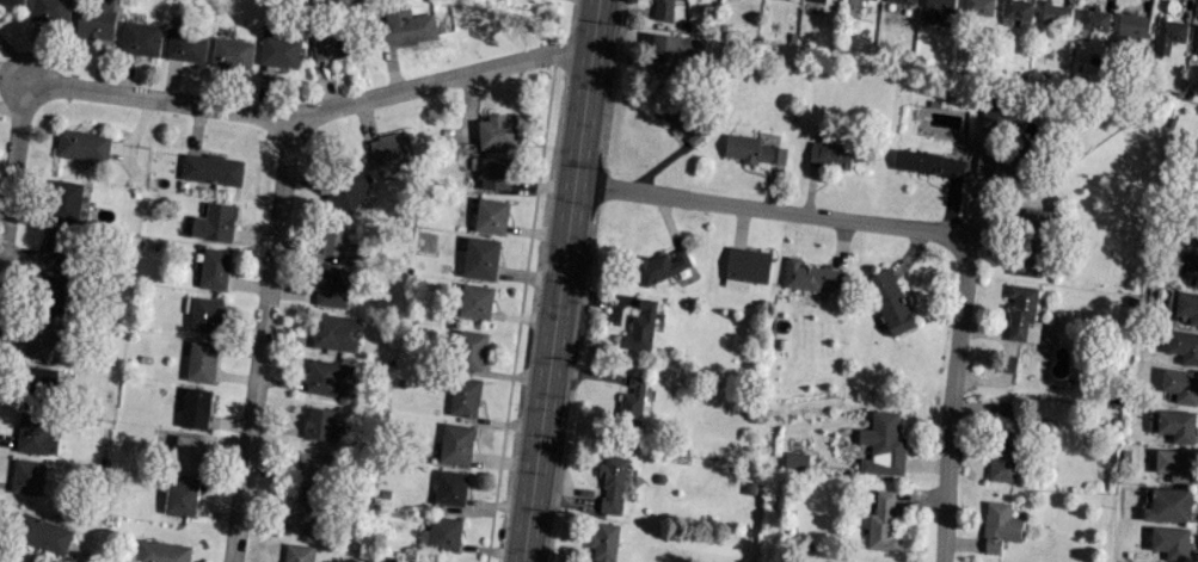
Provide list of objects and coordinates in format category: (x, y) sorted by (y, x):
building: (817, 0)
building: (11, 1)
building: (902, 1)
building: (978, 7)
building: (662, 10)
building: (935, 10)
building: (51, 11)
building: (1018, 11)
building: (1055, 13)
building: (96, 19)
building: (1093, 21)
building: (405, 24)
building: (1130, 26)
building: (1168, 33)
building: (140, 38)
building: (1196, 41)
building: (186, 44)
building: (328, 44)
building: (279, 48)
building: (676, 50)
building: (232, 54)
road: (314, 111)
building: (999, 112)
building: (674, 113)
building: (497, 131)
building: (695, 136)
building: (82, 144)
building: (389, 150)
building: (752, 150)
building: (829, 155)
building: (929, 163)
building: (999, 163)
building: (211, 168)
road: (12, 173)
building: (494, 173)
building: (348, 189)
building: (66, 202)
road: (775, 209)
building: (491, 216)
building: (214, 222)
building: (1196, 237)
building: (338, 240)
building: (1030, 241)
building: (56, 246)
building: (480, 258)
building: (661, 265)
building: (747, 265)
building: (1188, 266)
building: (214, 267)
building: (810, 276)
road: (558, 280)
building: (332, 285)
building: (51, 294)
building: (475, 301)
building: (890, 301)
building: (1187, 305)
building: (1022, 313)
building: (207, 314)
building: (640, 326)
building: (334, 332)
road: (262, 339)
building: (47, 340)
building: (1184, 346)
building: (469, 350)
building: (202, 362)
building: (328, 376)
building: (41, 379)
building: (1180, 385)
building: (463, 396)
building: (632, 402)
building: (195, 407)
road: (954, 410)
building: (318, 422)
building: (1177, 425)
building: (36, 436)
building: (455, 444)
building: (883, 445)
building: (1002, 445)
building: (188, 455)
building: (795, 459)
building: (1174, 463)
building: (311, 469)
building: (27, 476)
building: (613, 483)
building: (450, 487)
building: (180, 498)
building: (1167, 505)
building: (302, 515)
building: (881, 523)
building: (999, 526)
building: (43, 533)
building: (441, 533)
building: (603, 542)
building: (1169, 542)
building: (159, 551)
building: (297, 552)

